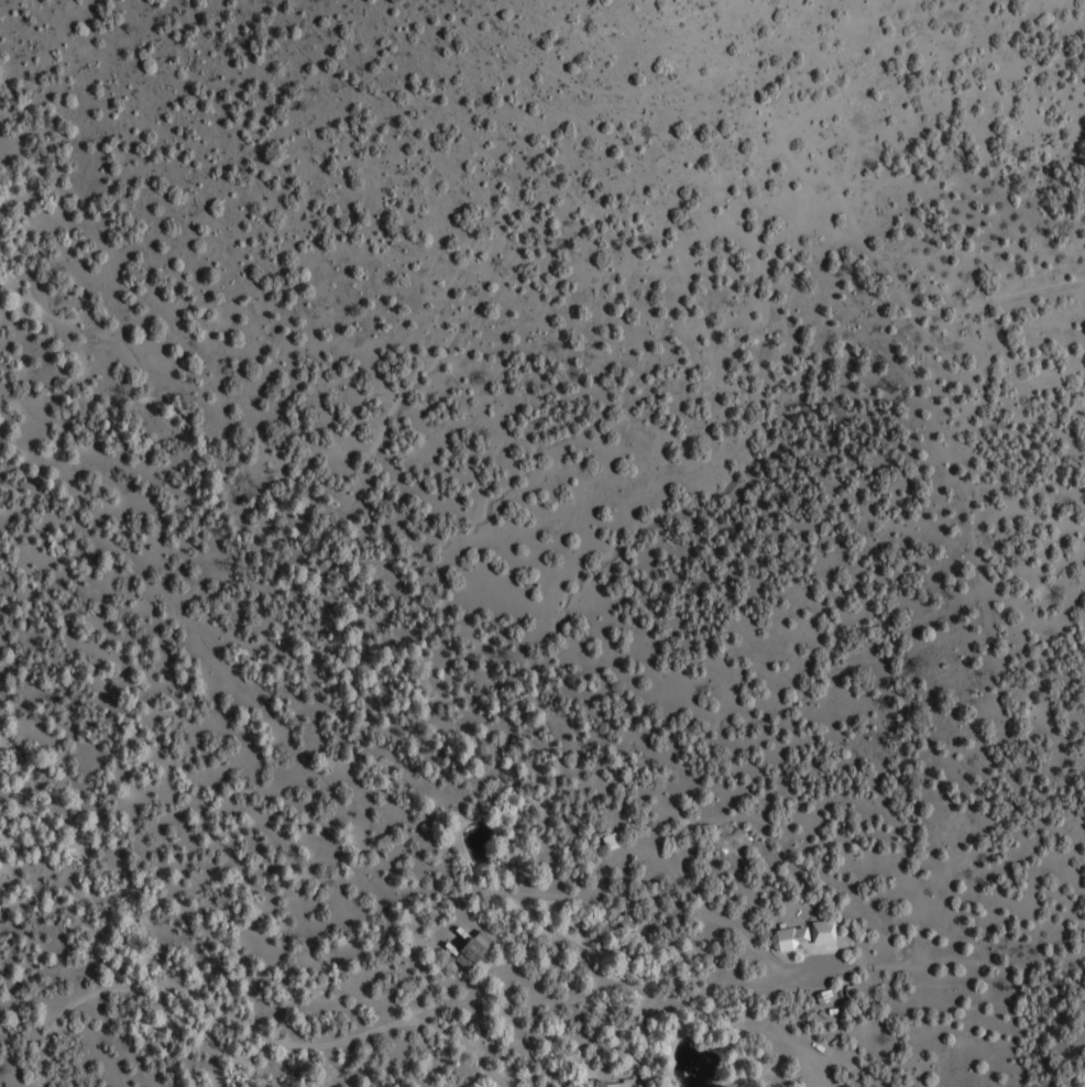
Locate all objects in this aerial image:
building: (620, 842)
building: (814, 938)
building: (480, 951)
building: (613, 1084)

